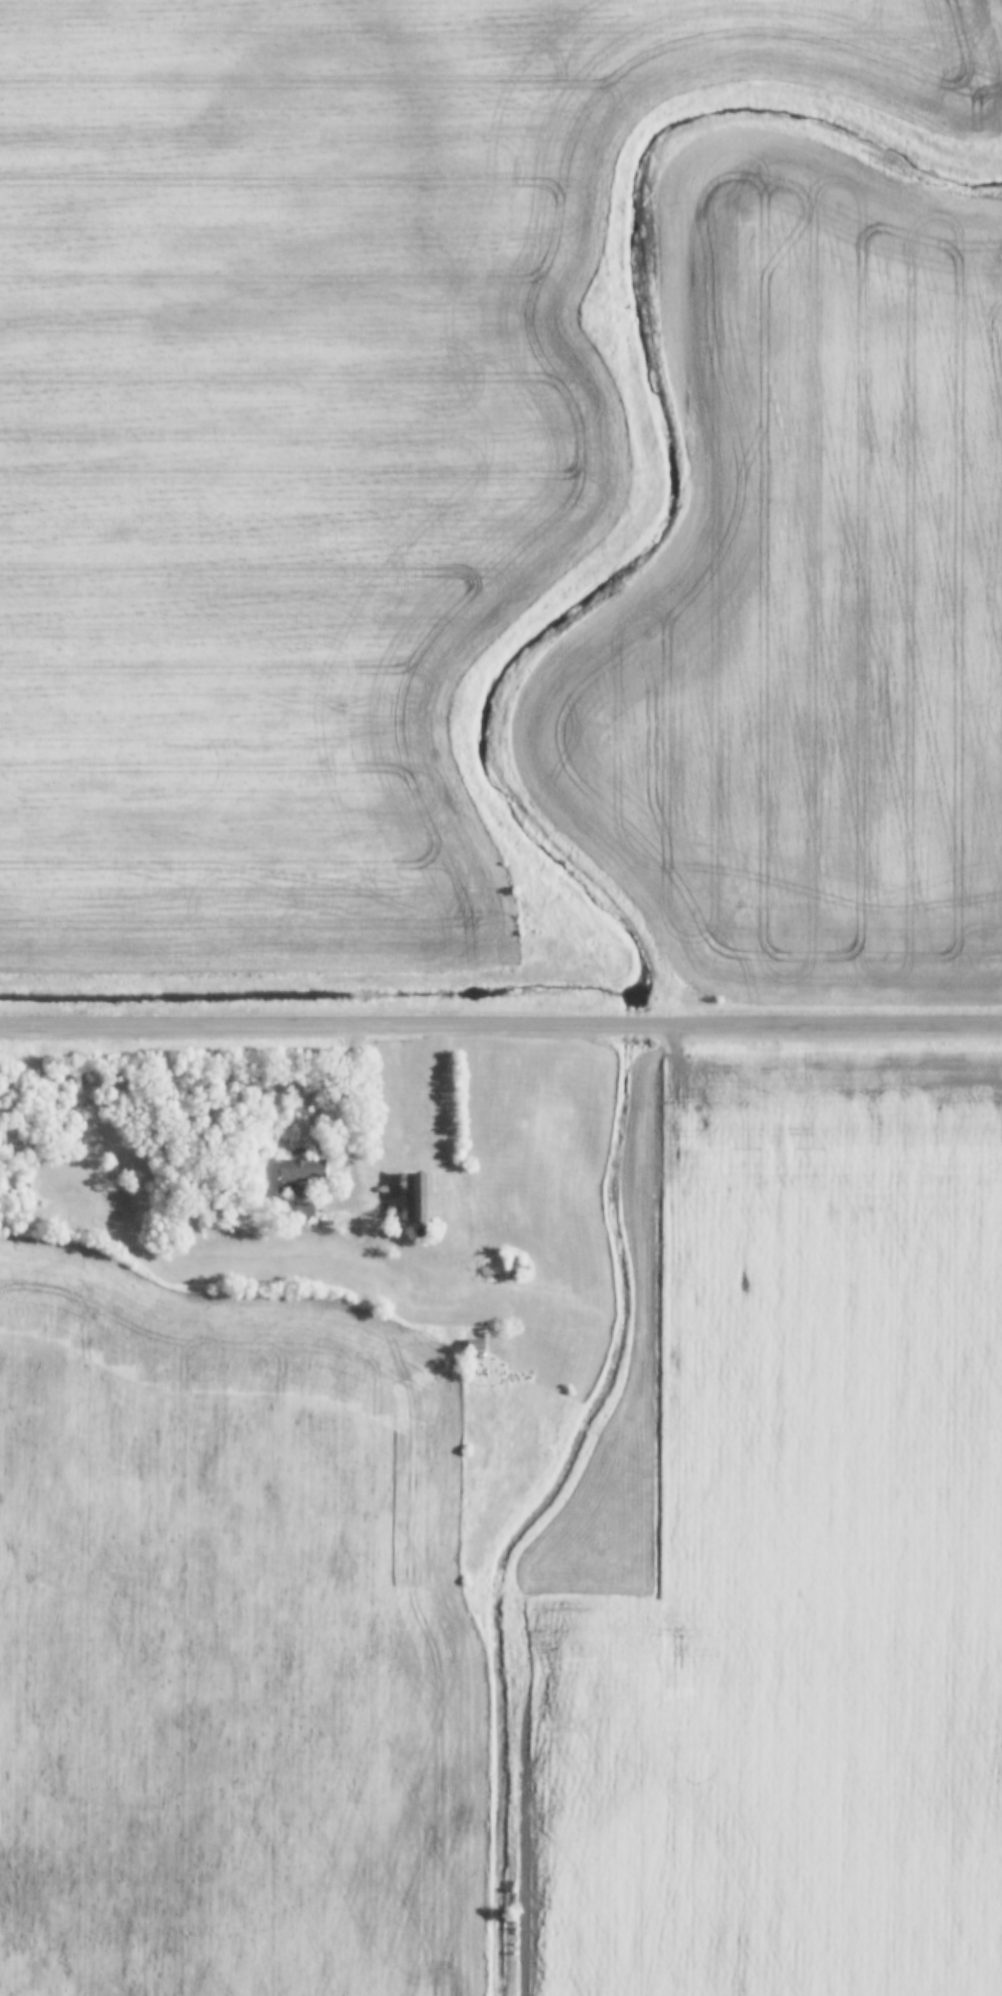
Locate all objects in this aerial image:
road: (500, 1028)
road: (360, 1116)
building: (299, 1173)
building: (418, 1197)
building: (304, 1212)
building: (475, 1345)

